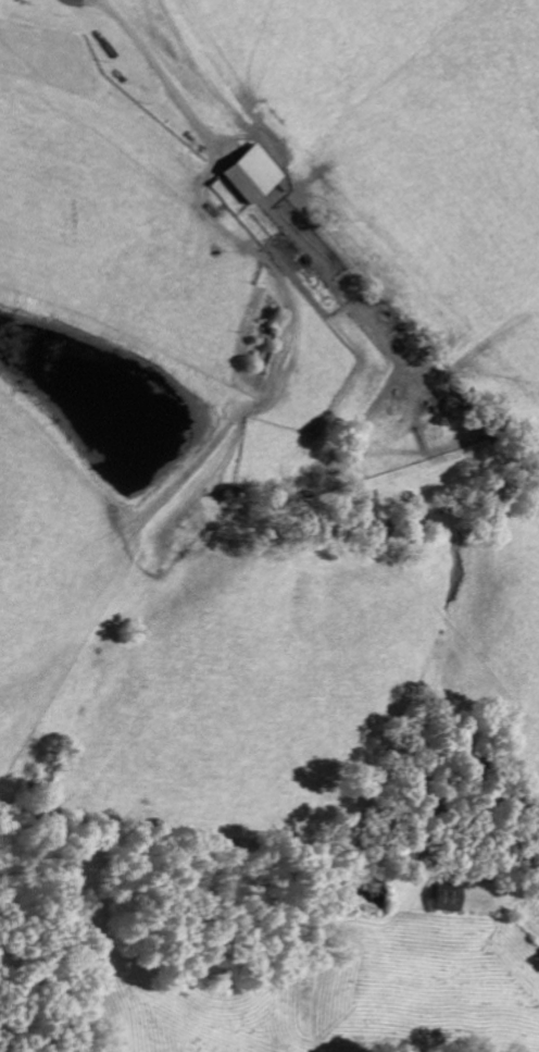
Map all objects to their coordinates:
road: (83, 0)
building: (250, 174)
building: (444, 896)

